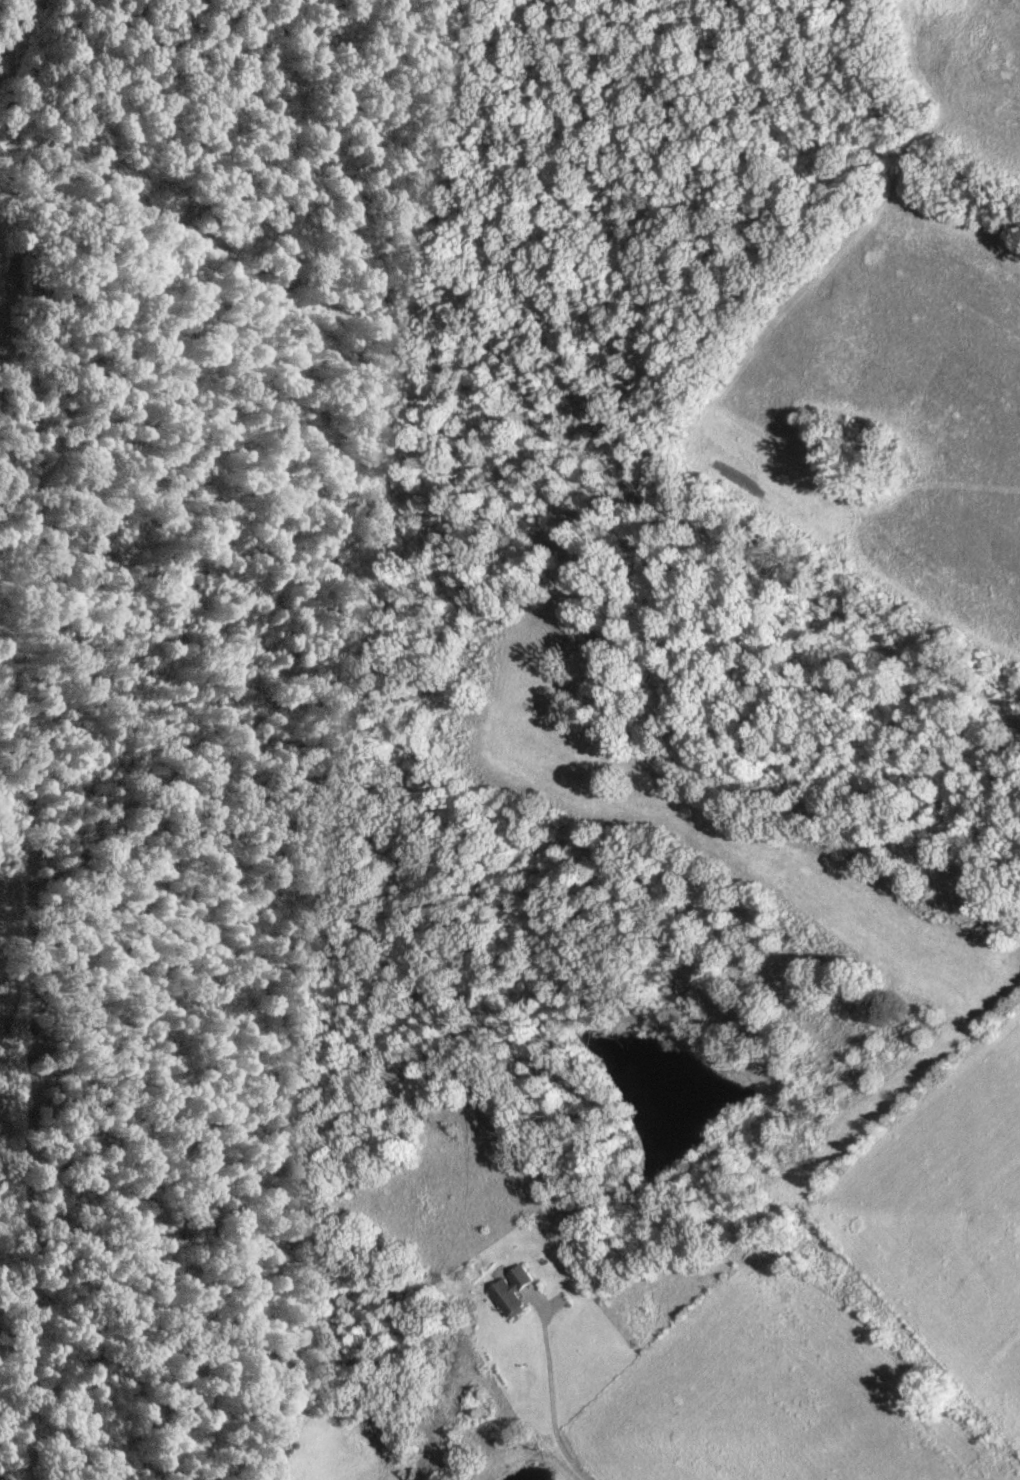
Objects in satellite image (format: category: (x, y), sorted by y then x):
building: (513, 1292)
road: (555, 1394)

